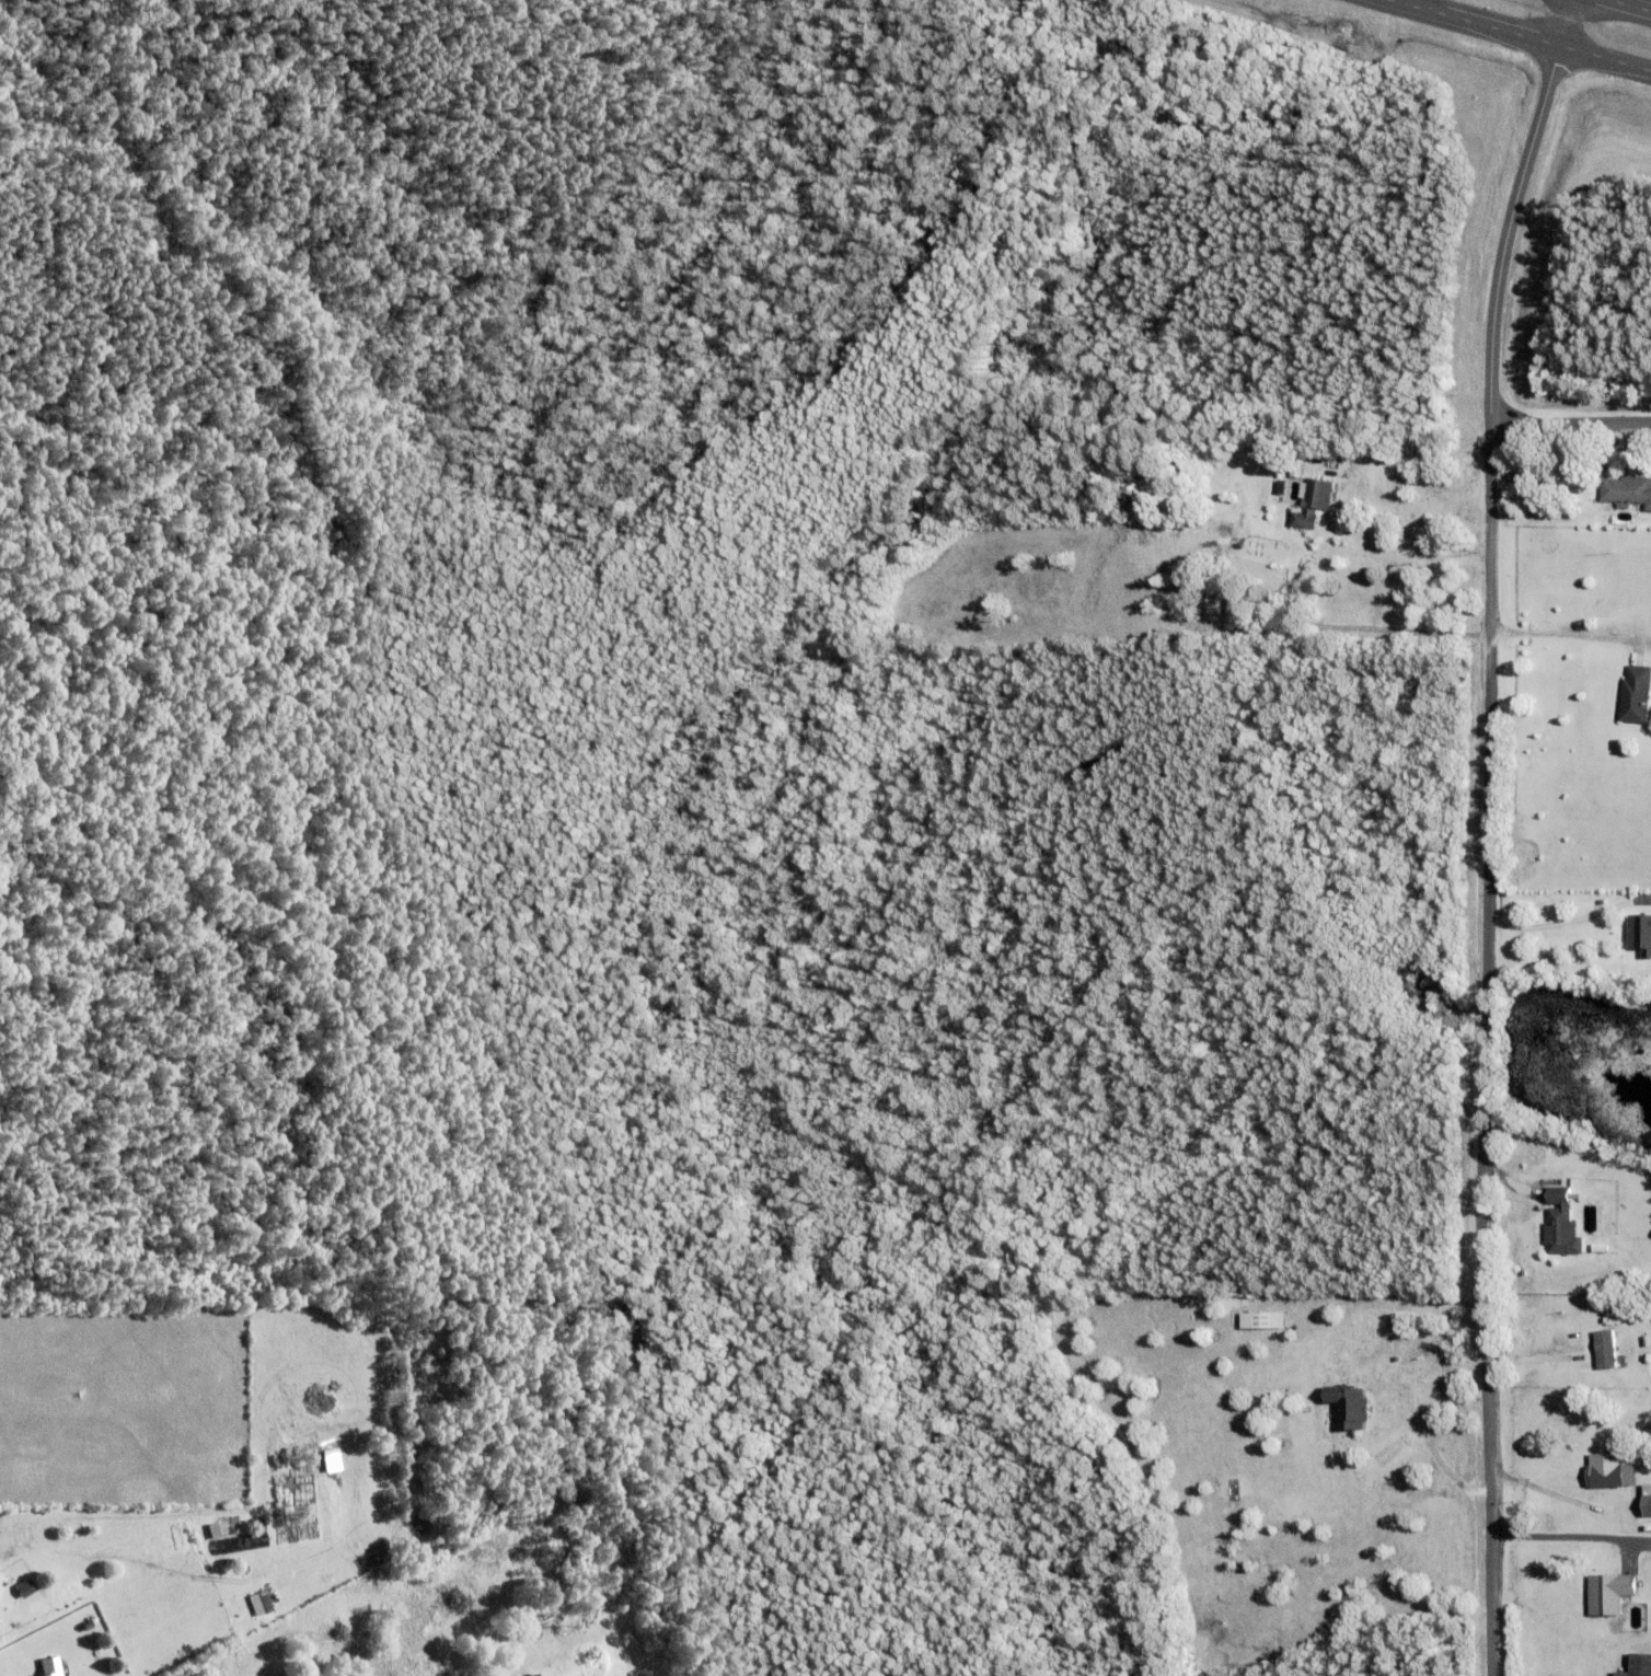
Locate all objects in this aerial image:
road: (1629, 5)
road: (1522, 36)
road: (1512, 208)
road: (1393, 451)
building: (1626, 489)
building: (1313, 501)
building: (1291, 604)
road: (1563, 629)
building: (1636, 693)
building: (1640, 932)
road: (1490, 970)
building: (1561, 1227)
building: (1561, 1268)
building: (1257, 1319)
building: (1606, 1350)
building: (1346, 1406)
building: (1405, 1408)
building: (1647, 1433)
building: (1609, 1475)
road: (1555, 1492)
building: (1646, 1504)
road: (1565, 1541)
building: (26, 1588)
building: (1610, 1593)
building: (259, 1604)
building: (89, 1626)
building: (1639, 1665)
building: (50, 1675)
building: (535, 1675)

